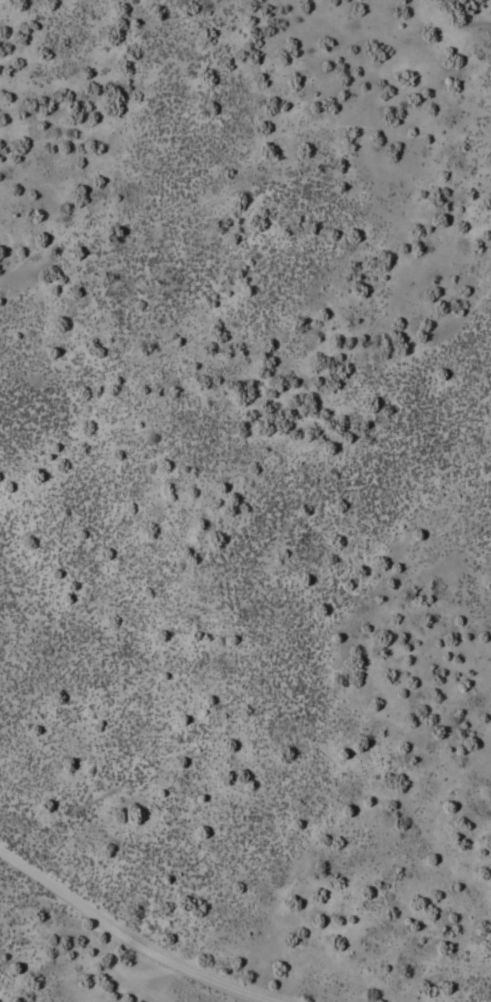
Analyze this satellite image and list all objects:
road: (125, 937)

